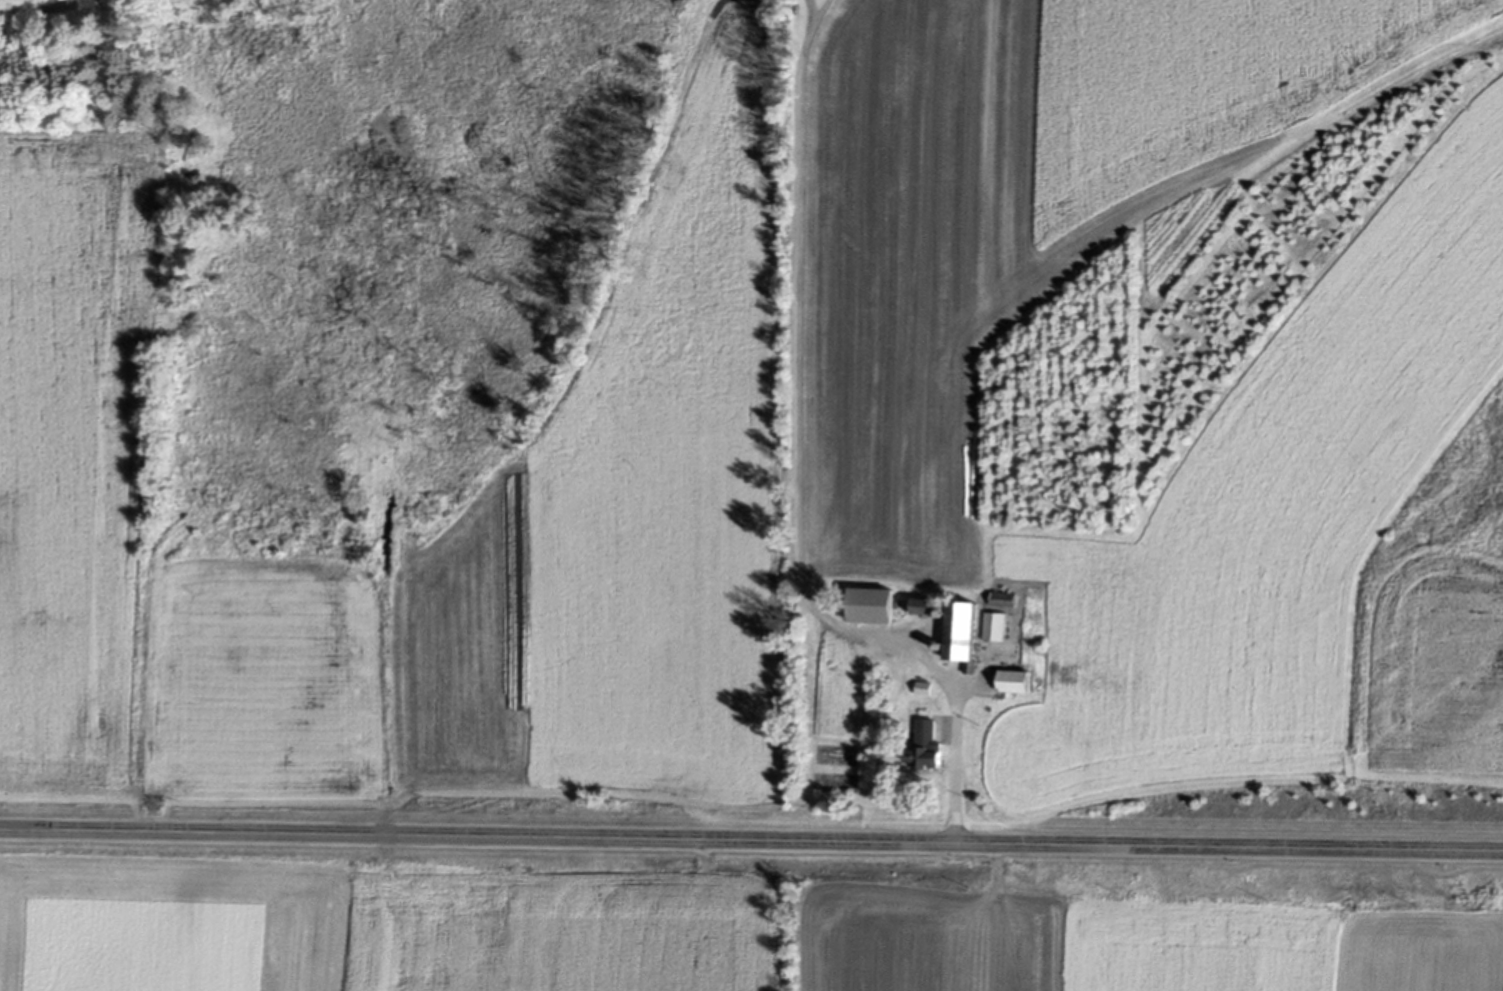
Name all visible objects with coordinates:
road: (793, 467)
building: (1002, 601)
building: (870, 607)
building: (922, 608)
building: (994, 627)
building: (959, 631)
building: (1014, 683)
building: (923, 748)
road: (751, 840)

